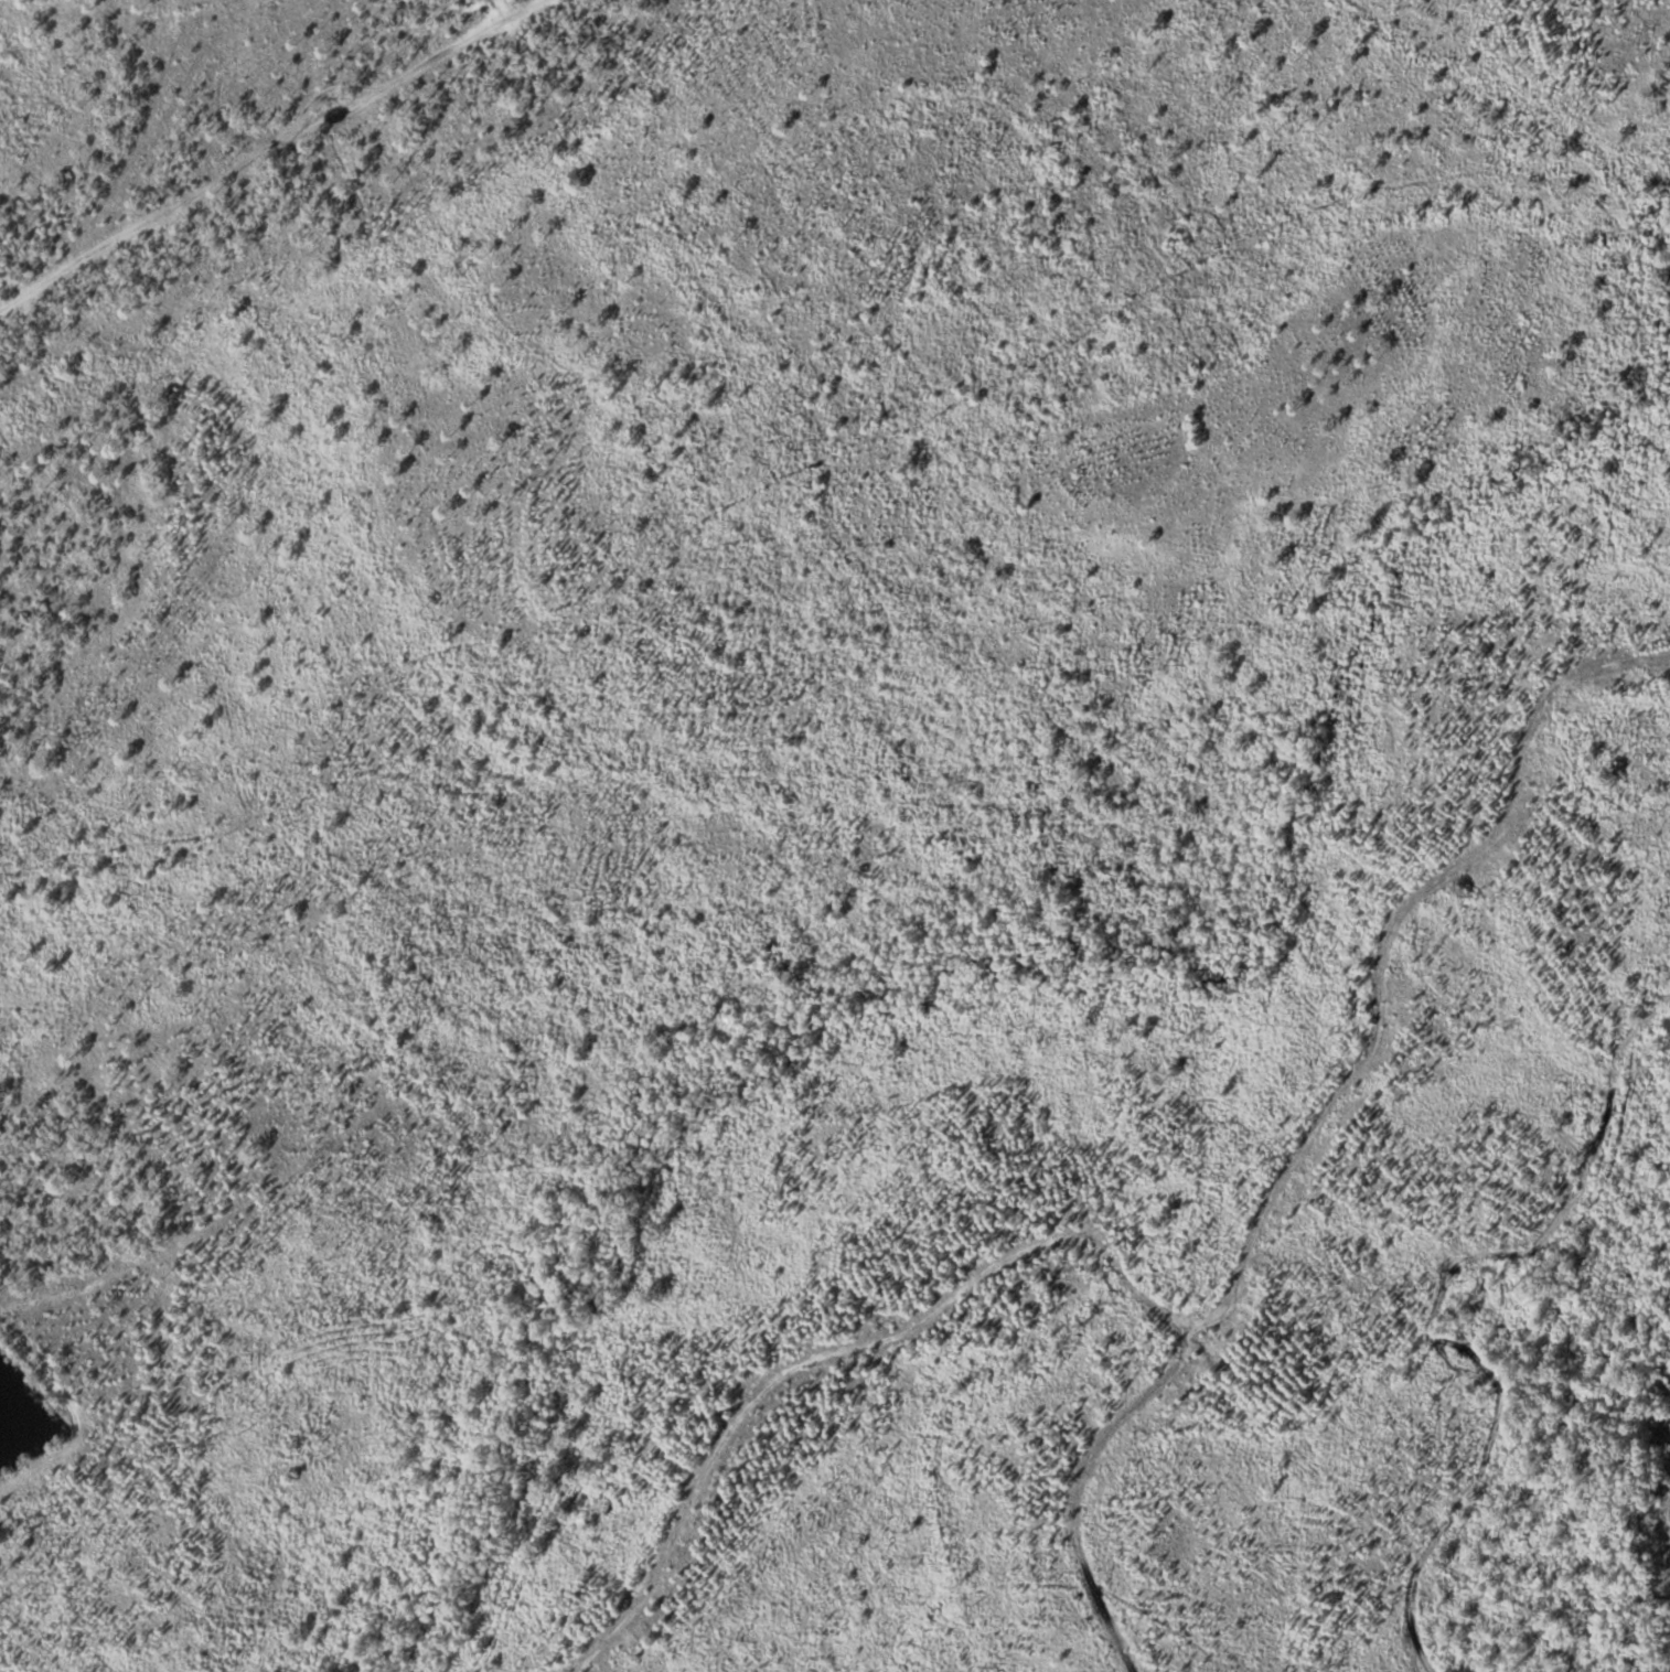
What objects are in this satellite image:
road: (268, 143)
road: (74, 1410)

